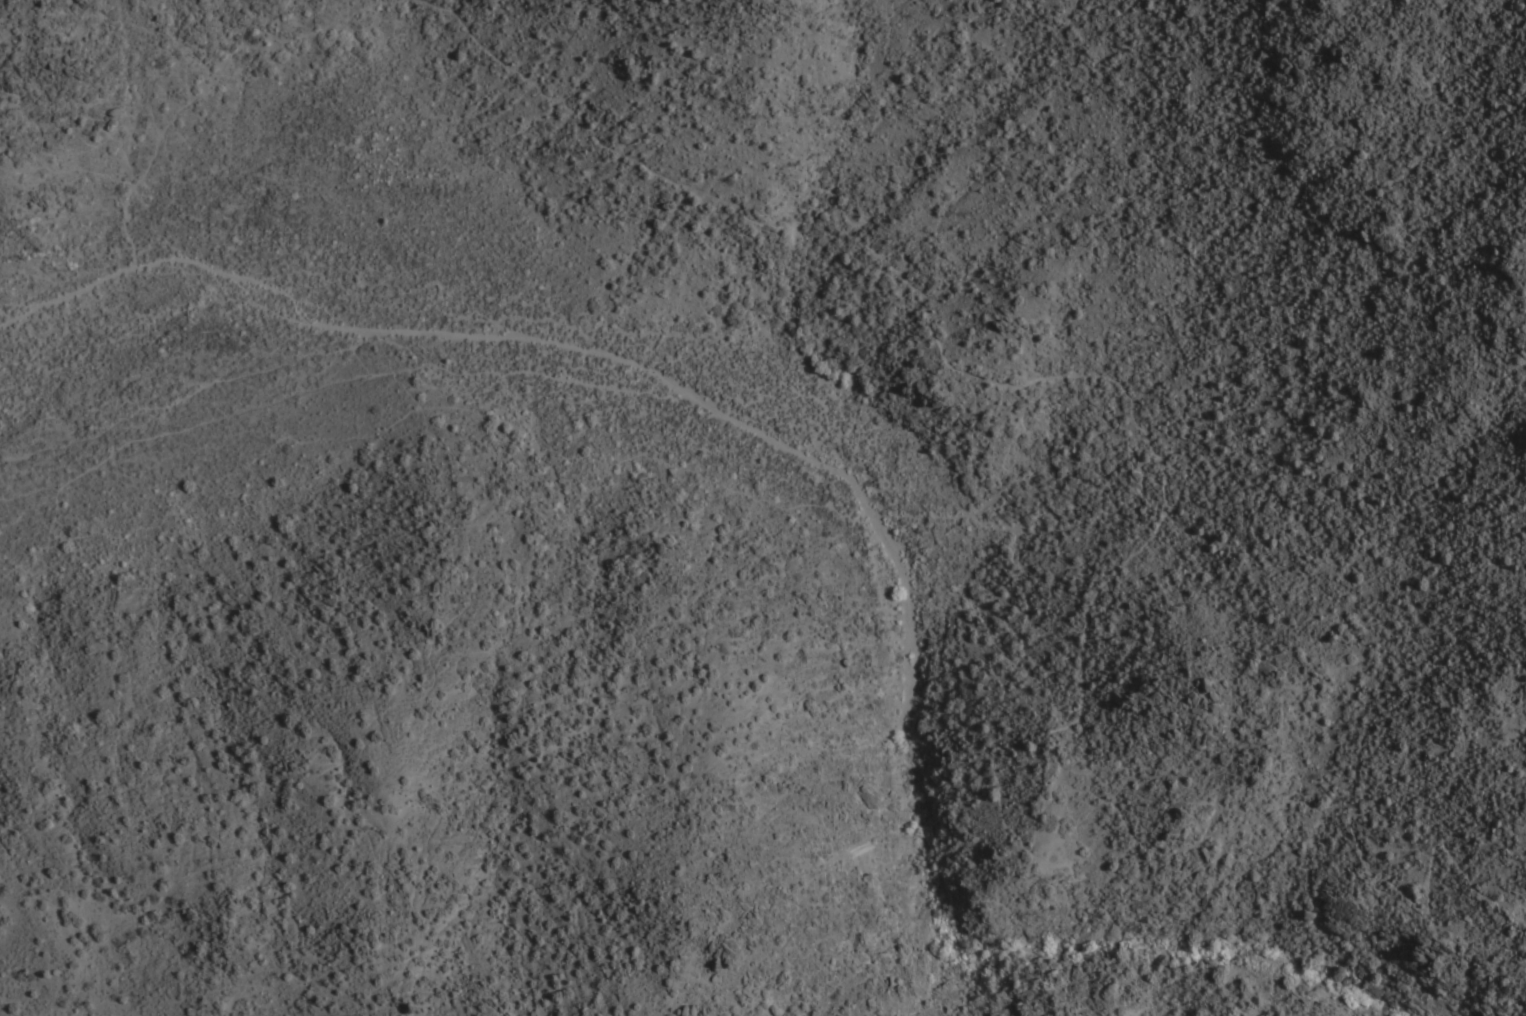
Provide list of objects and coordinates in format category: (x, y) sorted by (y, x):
road: (33, 74)
road: (204, 88)
road: (64, 183)
road: (66, 289)
road: (675, 389)
road: (112, 443)
road: (1167, 470)
road: (1139, 941)

